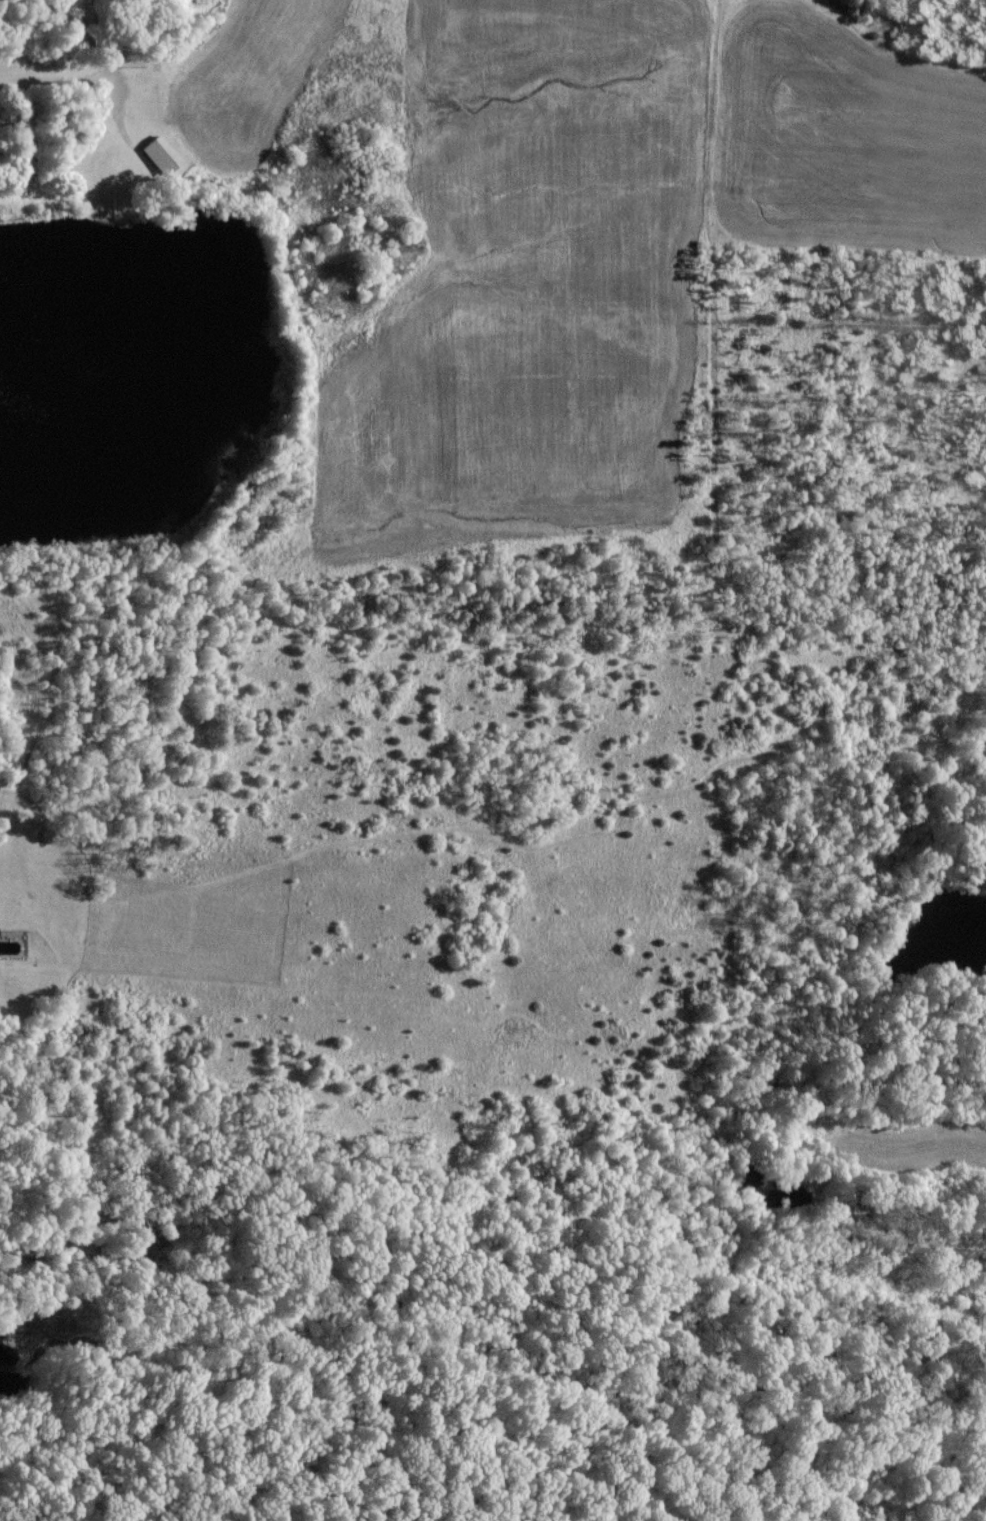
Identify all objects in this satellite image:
road: (100, 39)
road: (79, 78)
building: (156, 153)

